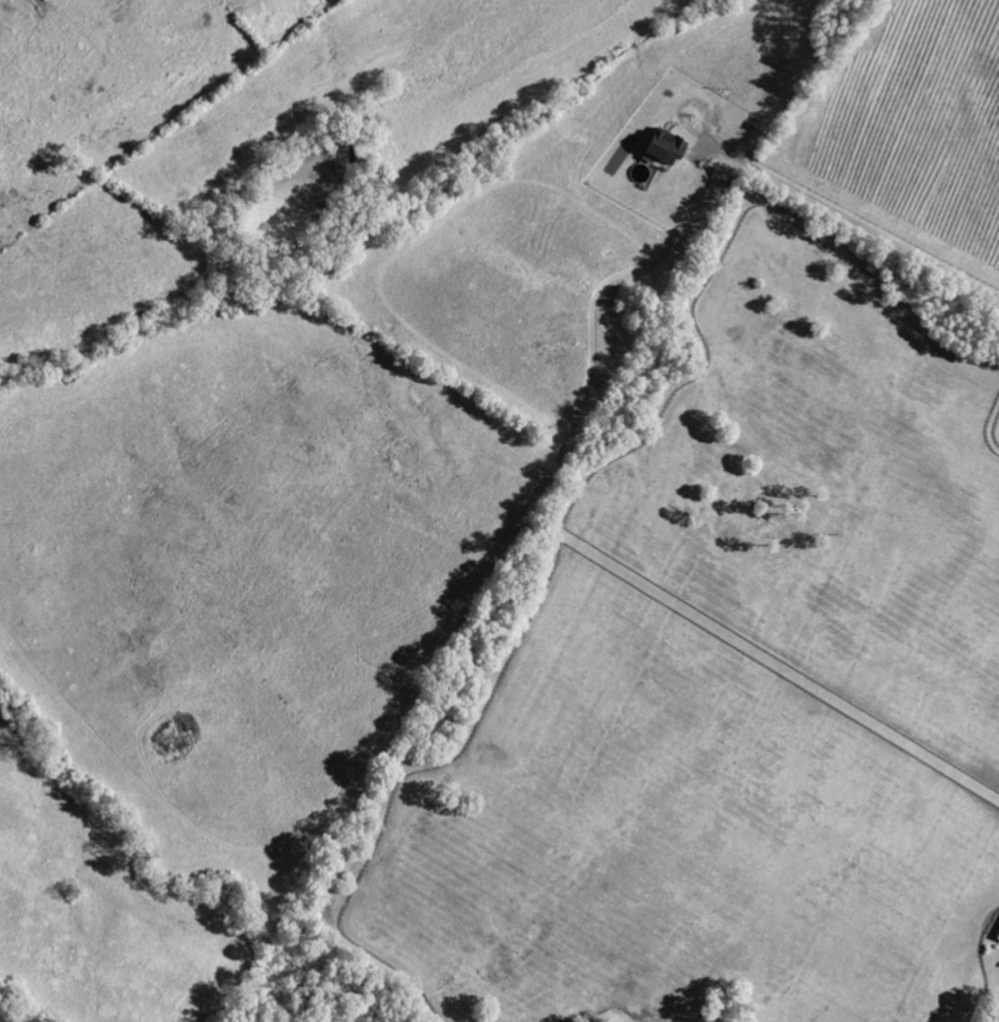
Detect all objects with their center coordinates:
building: (659, 147)
road: (862, 227)
building: (997, 937)

